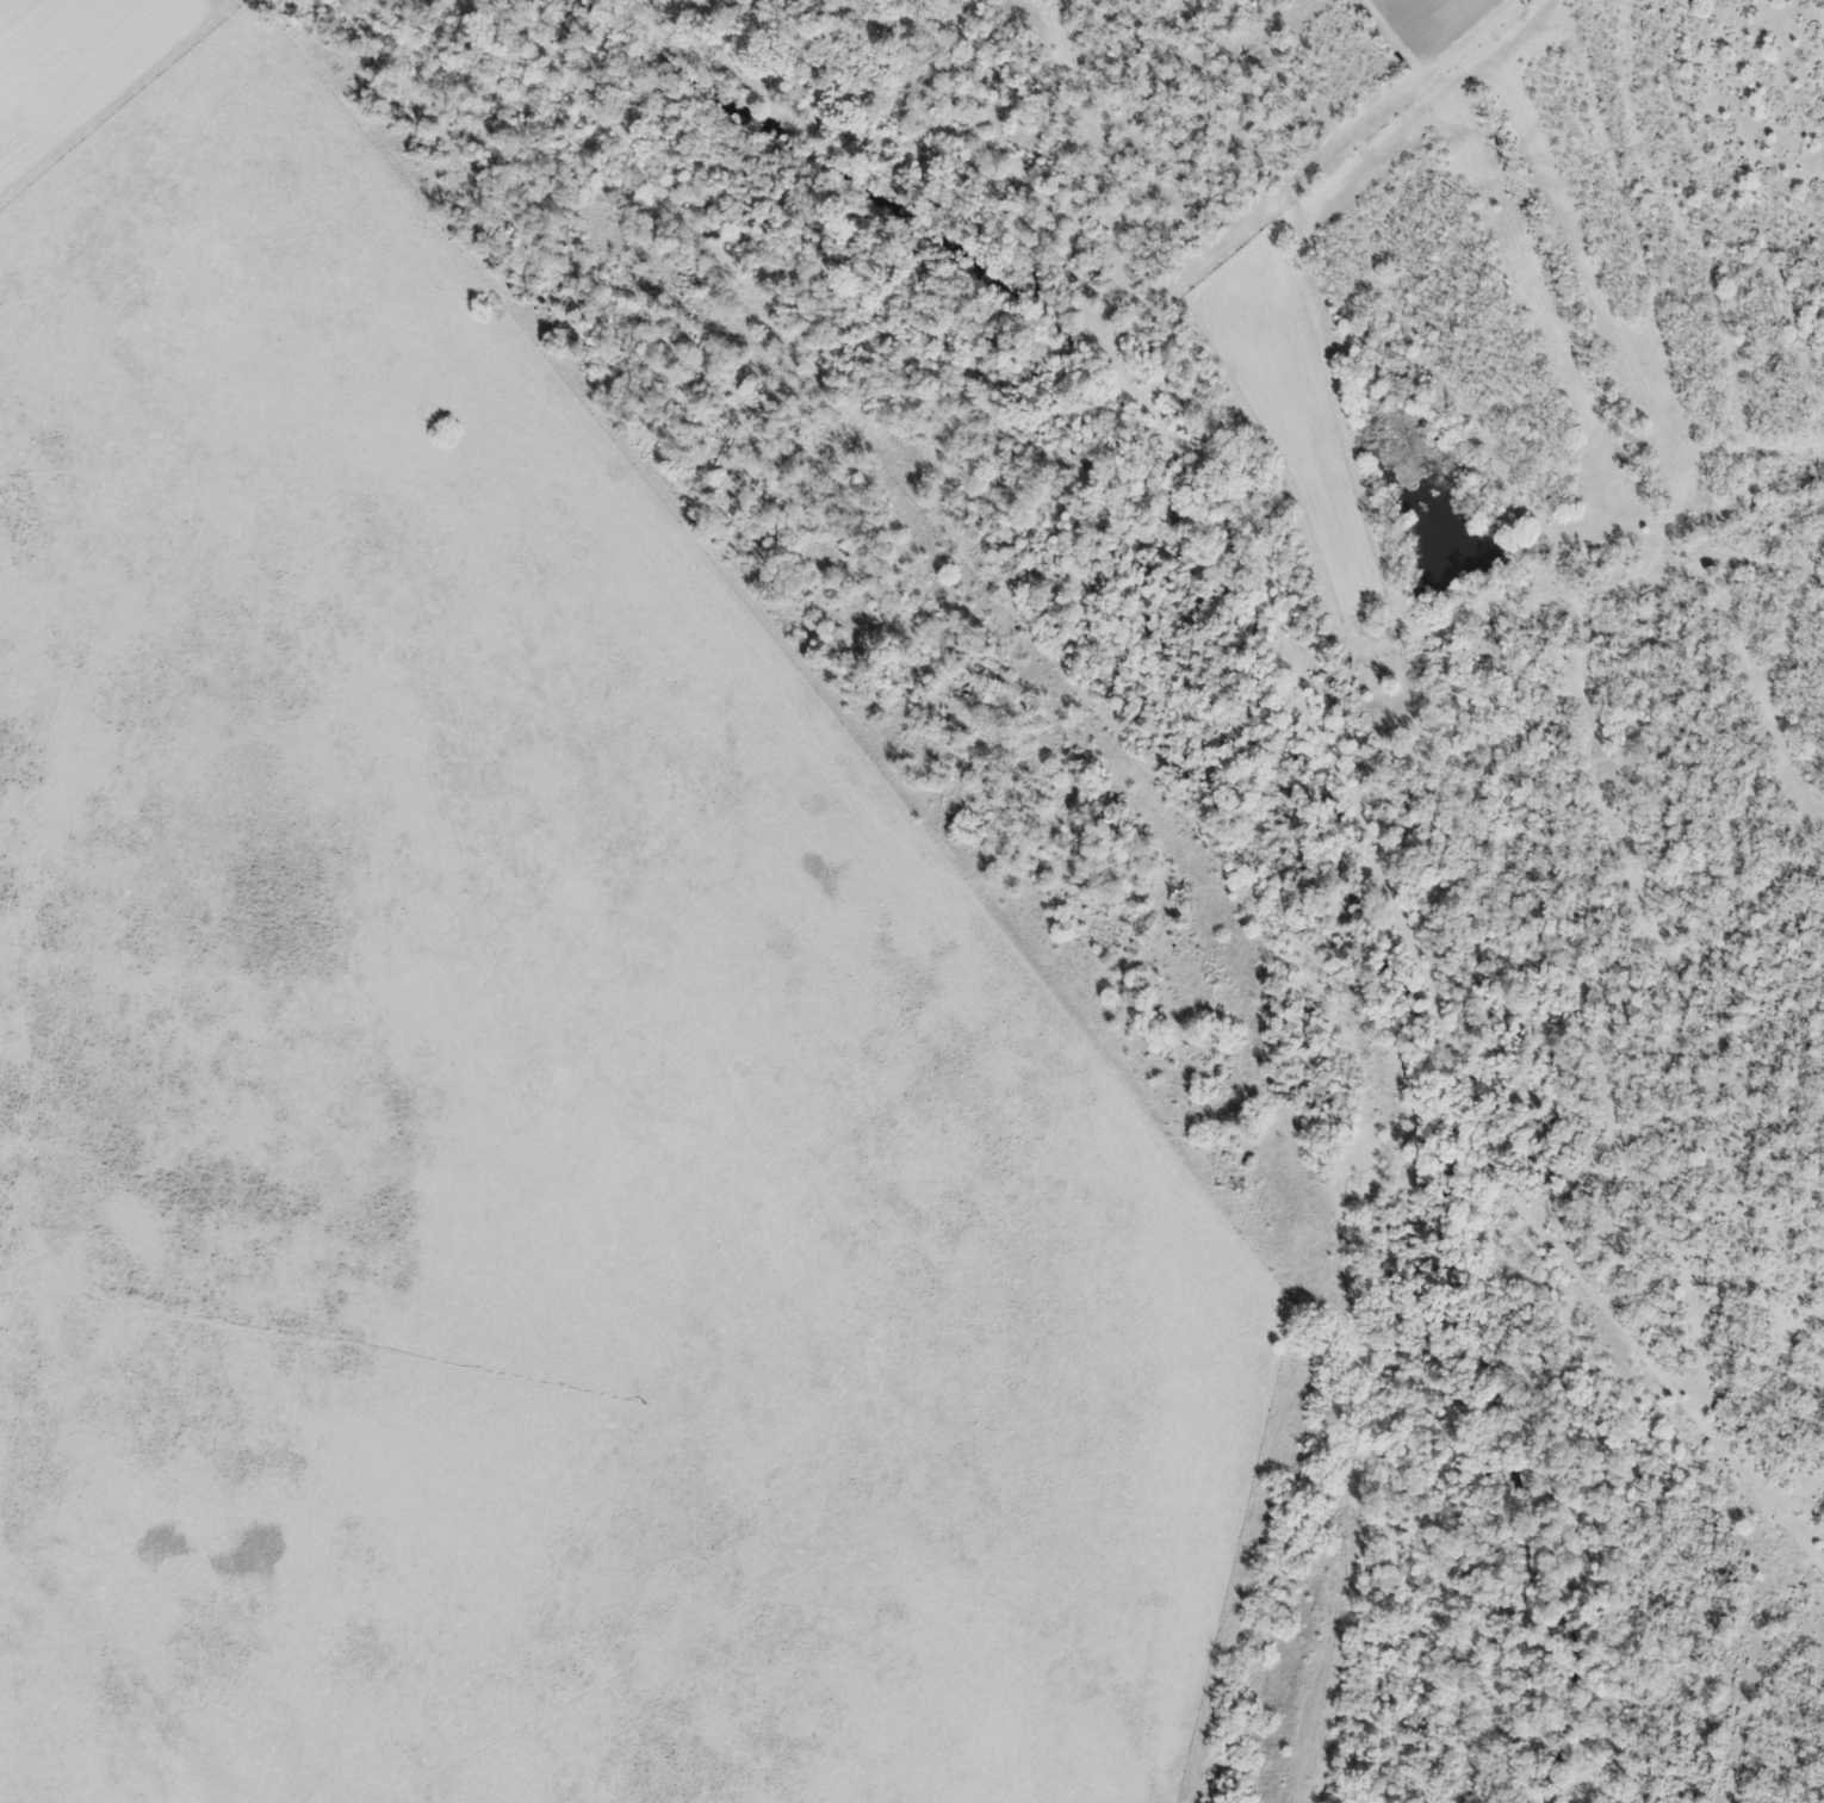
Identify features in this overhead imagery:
river: (720, 93)
river: (1241, 584)
river: (1491, 1451)

